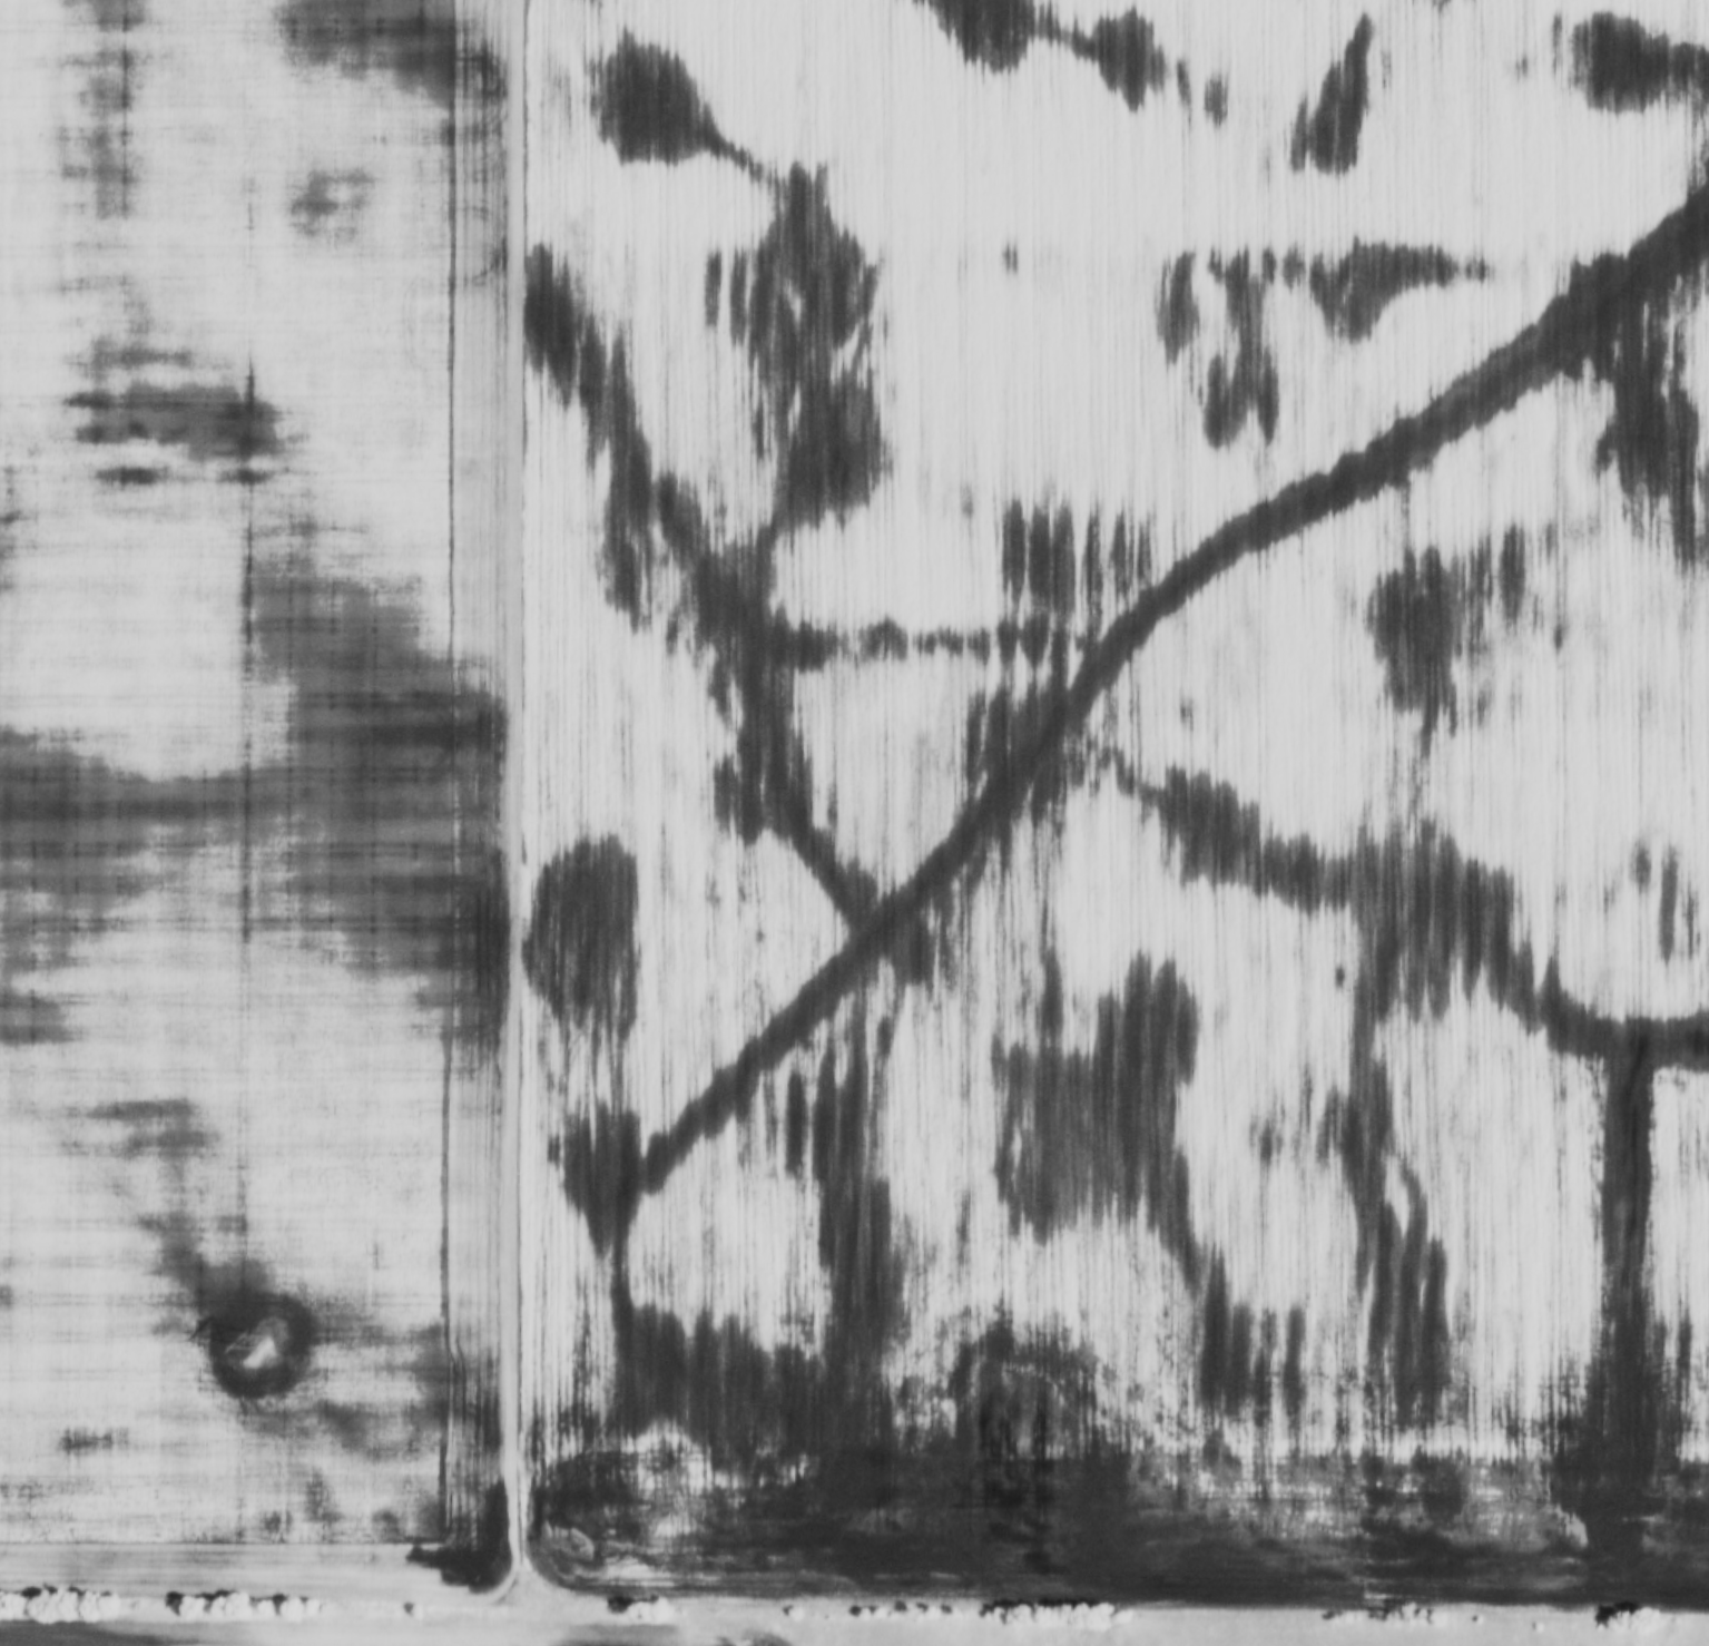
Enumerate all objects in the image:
power tower: (255, 1341)

